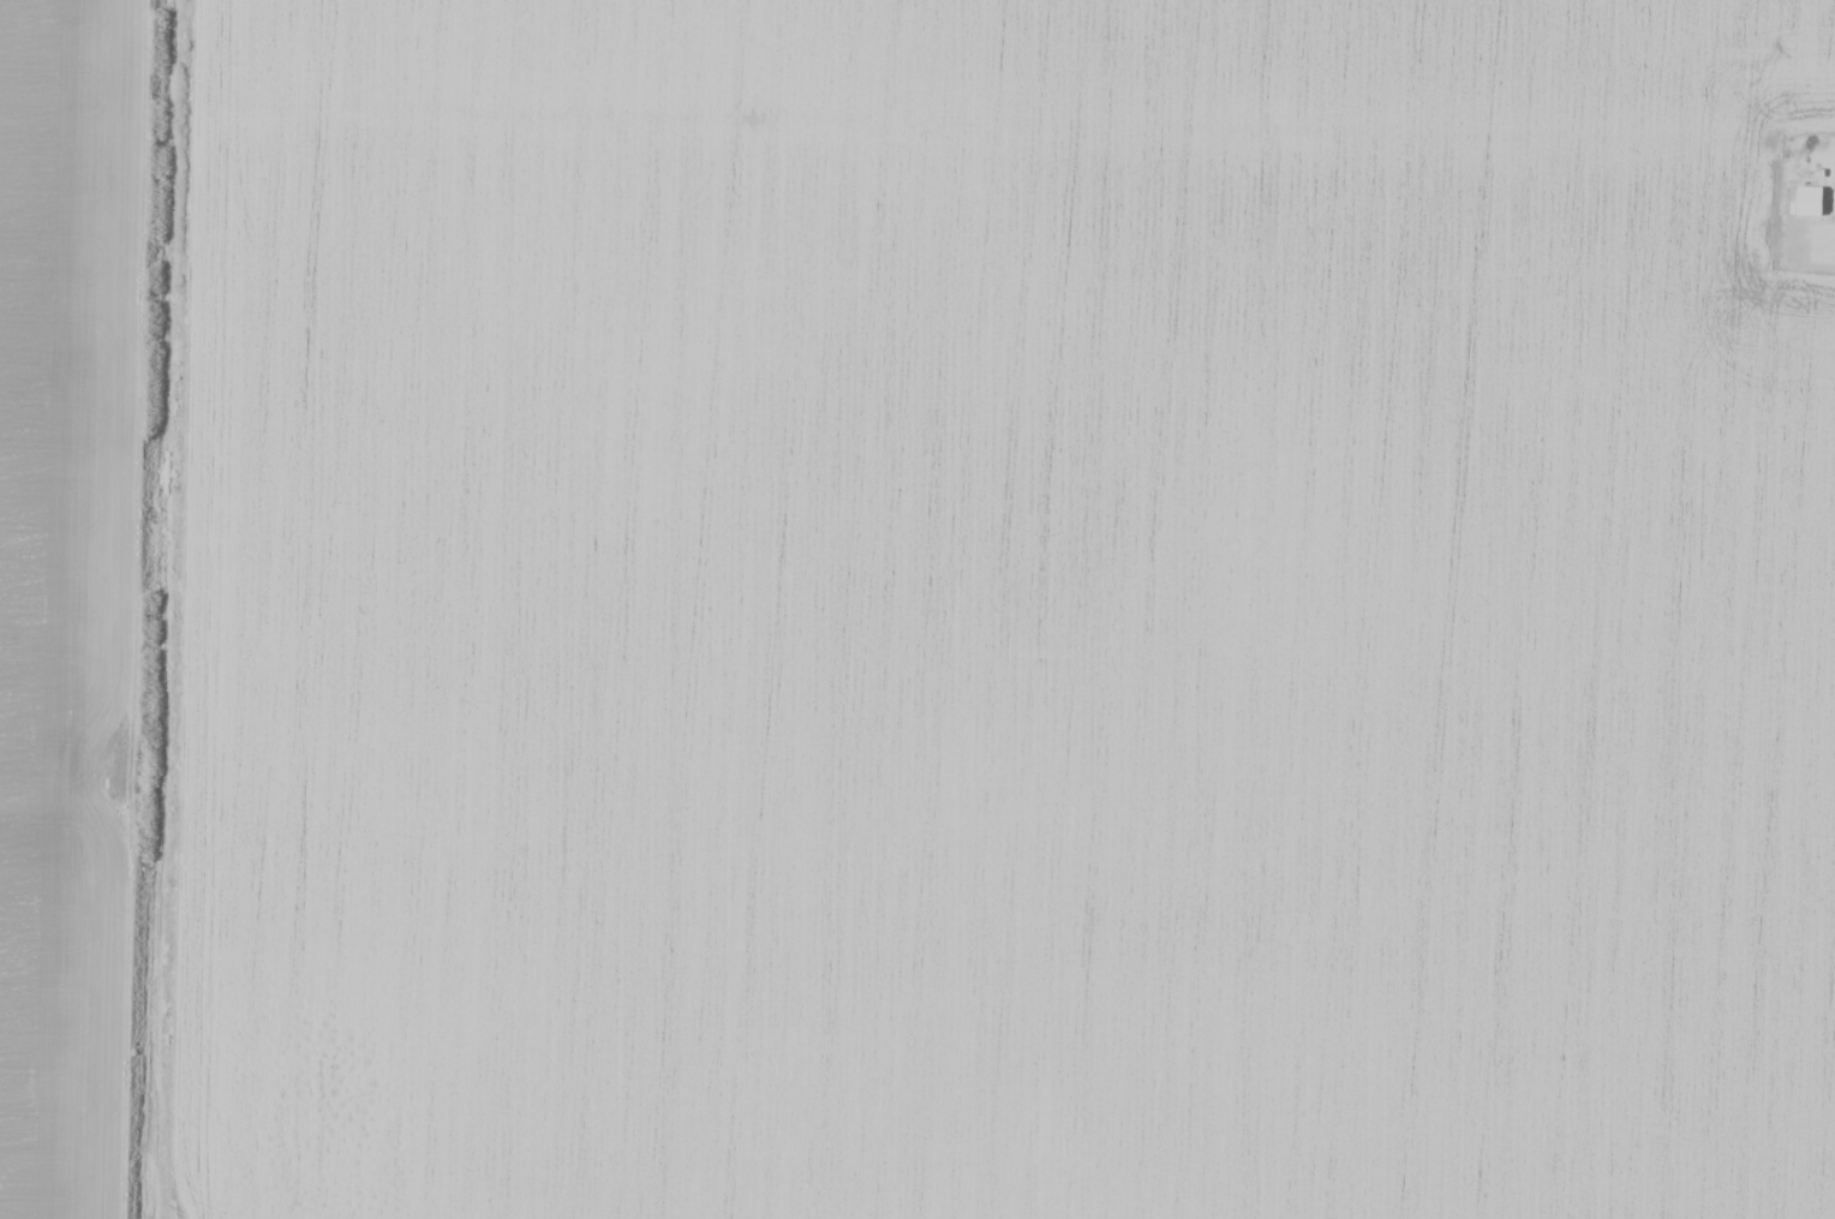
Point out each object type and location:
building: (1805, 201)

